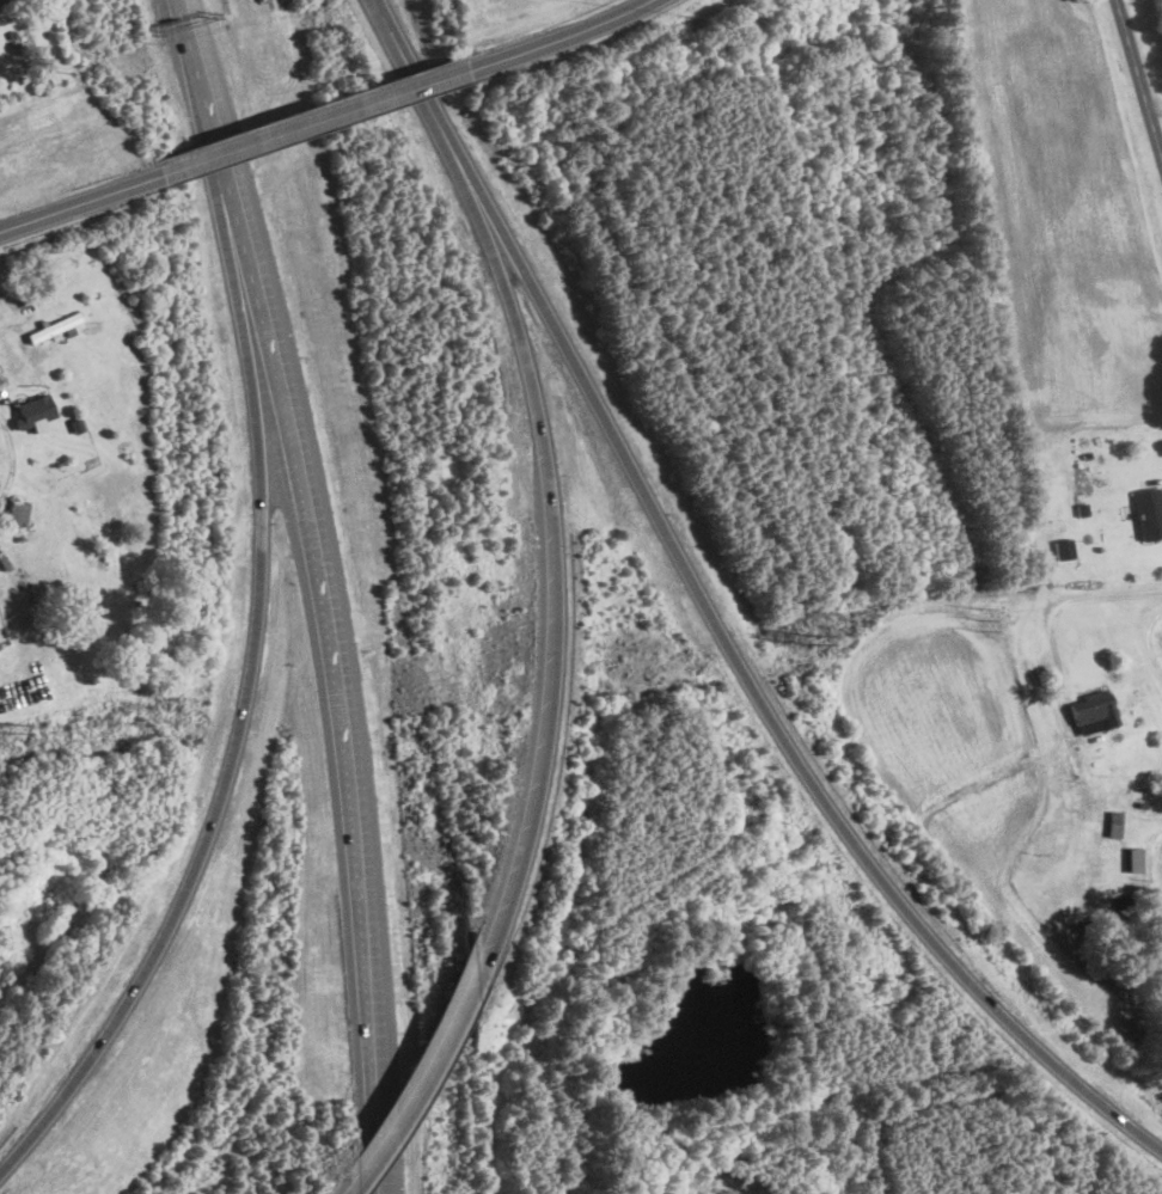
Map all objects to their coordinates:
building: (1, 0)
road: (576, 33)
road: (1138, 78)
road: (326, 120)
road: (80, 204)
building: (54, 326)
road: (281, 365)
building: (33, 411)
road: (12, 459)
building: (1149, 512)
road: (551, 546)
building: (1064, 547)
road: (718, 617)
power tower: (979, 617)
road: (1138, 635)
power tower: (805, 637)
road: (1060, 682)
building: (1093, 710)
power tower: (6, 725)
road: (231, 754)
building: (1114, 823)
building: (1135, 859)
road: (366, 965)
road: (417, 1077)
road: (342, 1193)

